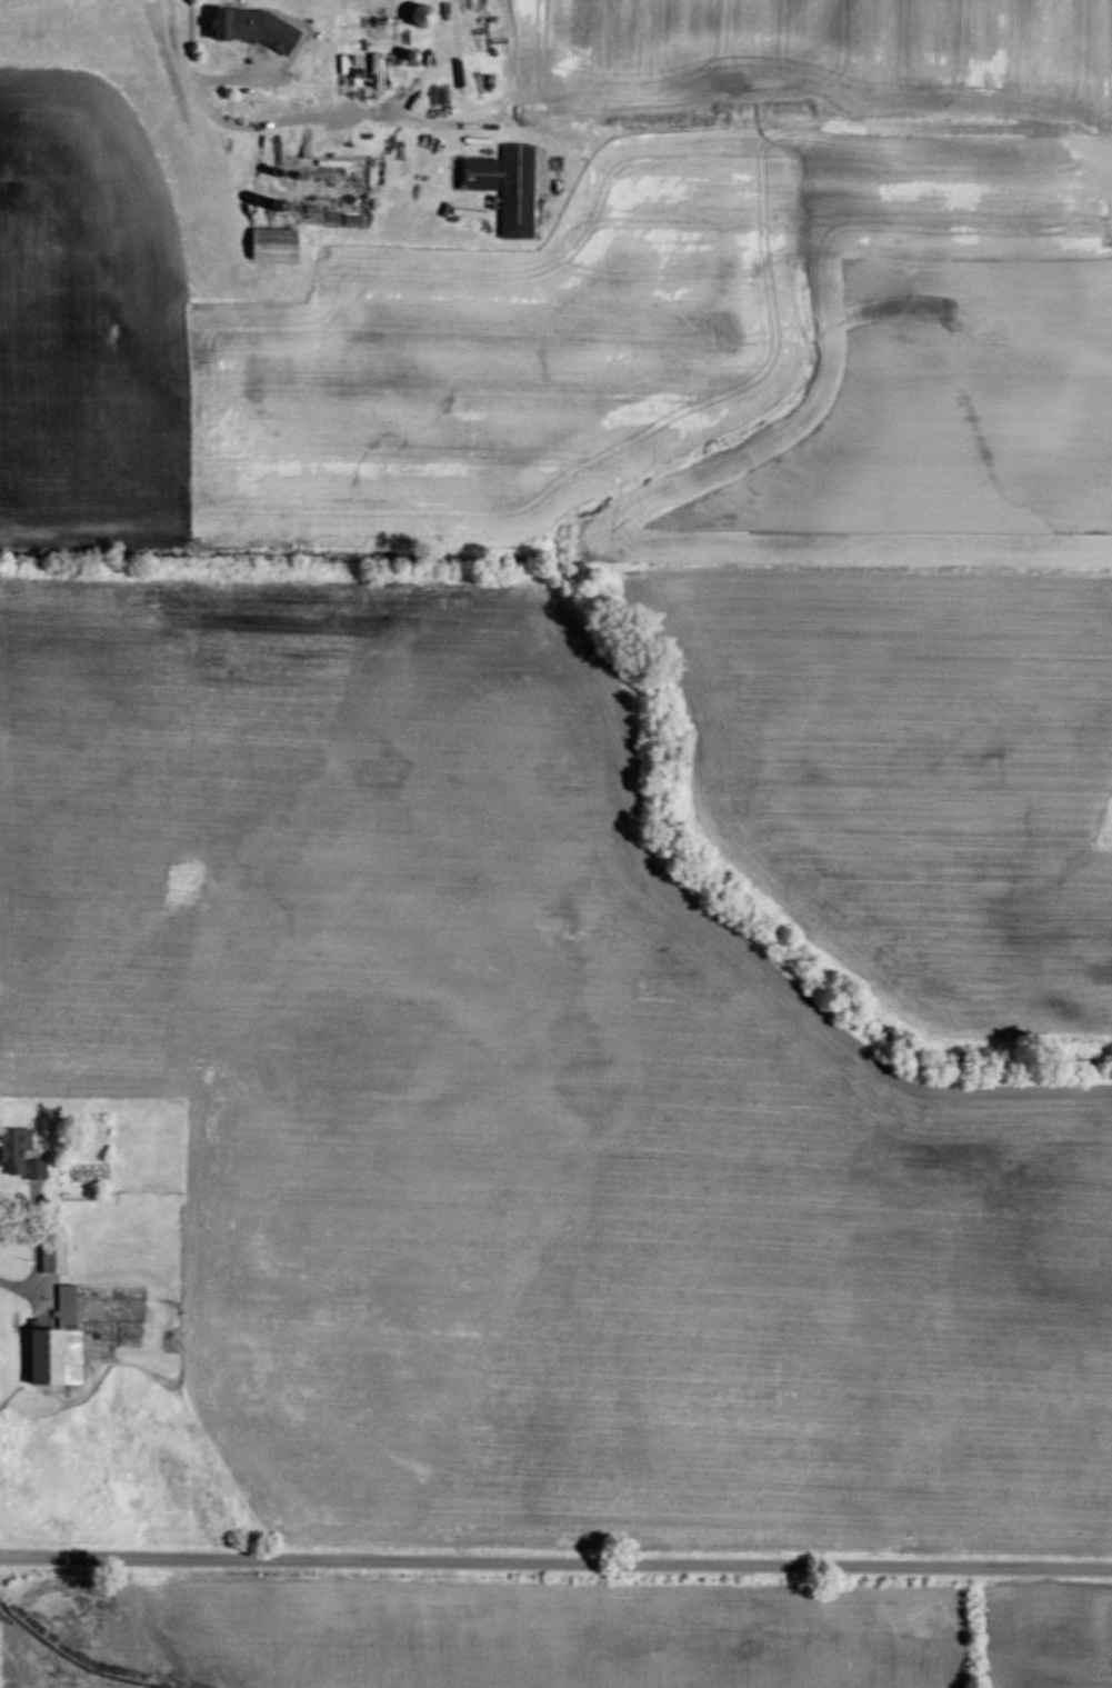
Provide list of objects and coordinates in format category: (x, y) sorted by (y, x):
building: (259, 28)
road: (270, 127)
building: (509, 186)
building: (277, 244)
building: (21, 1153)
road: (38, 1237)
building: (60, 1344)
road: (555, 1560)

